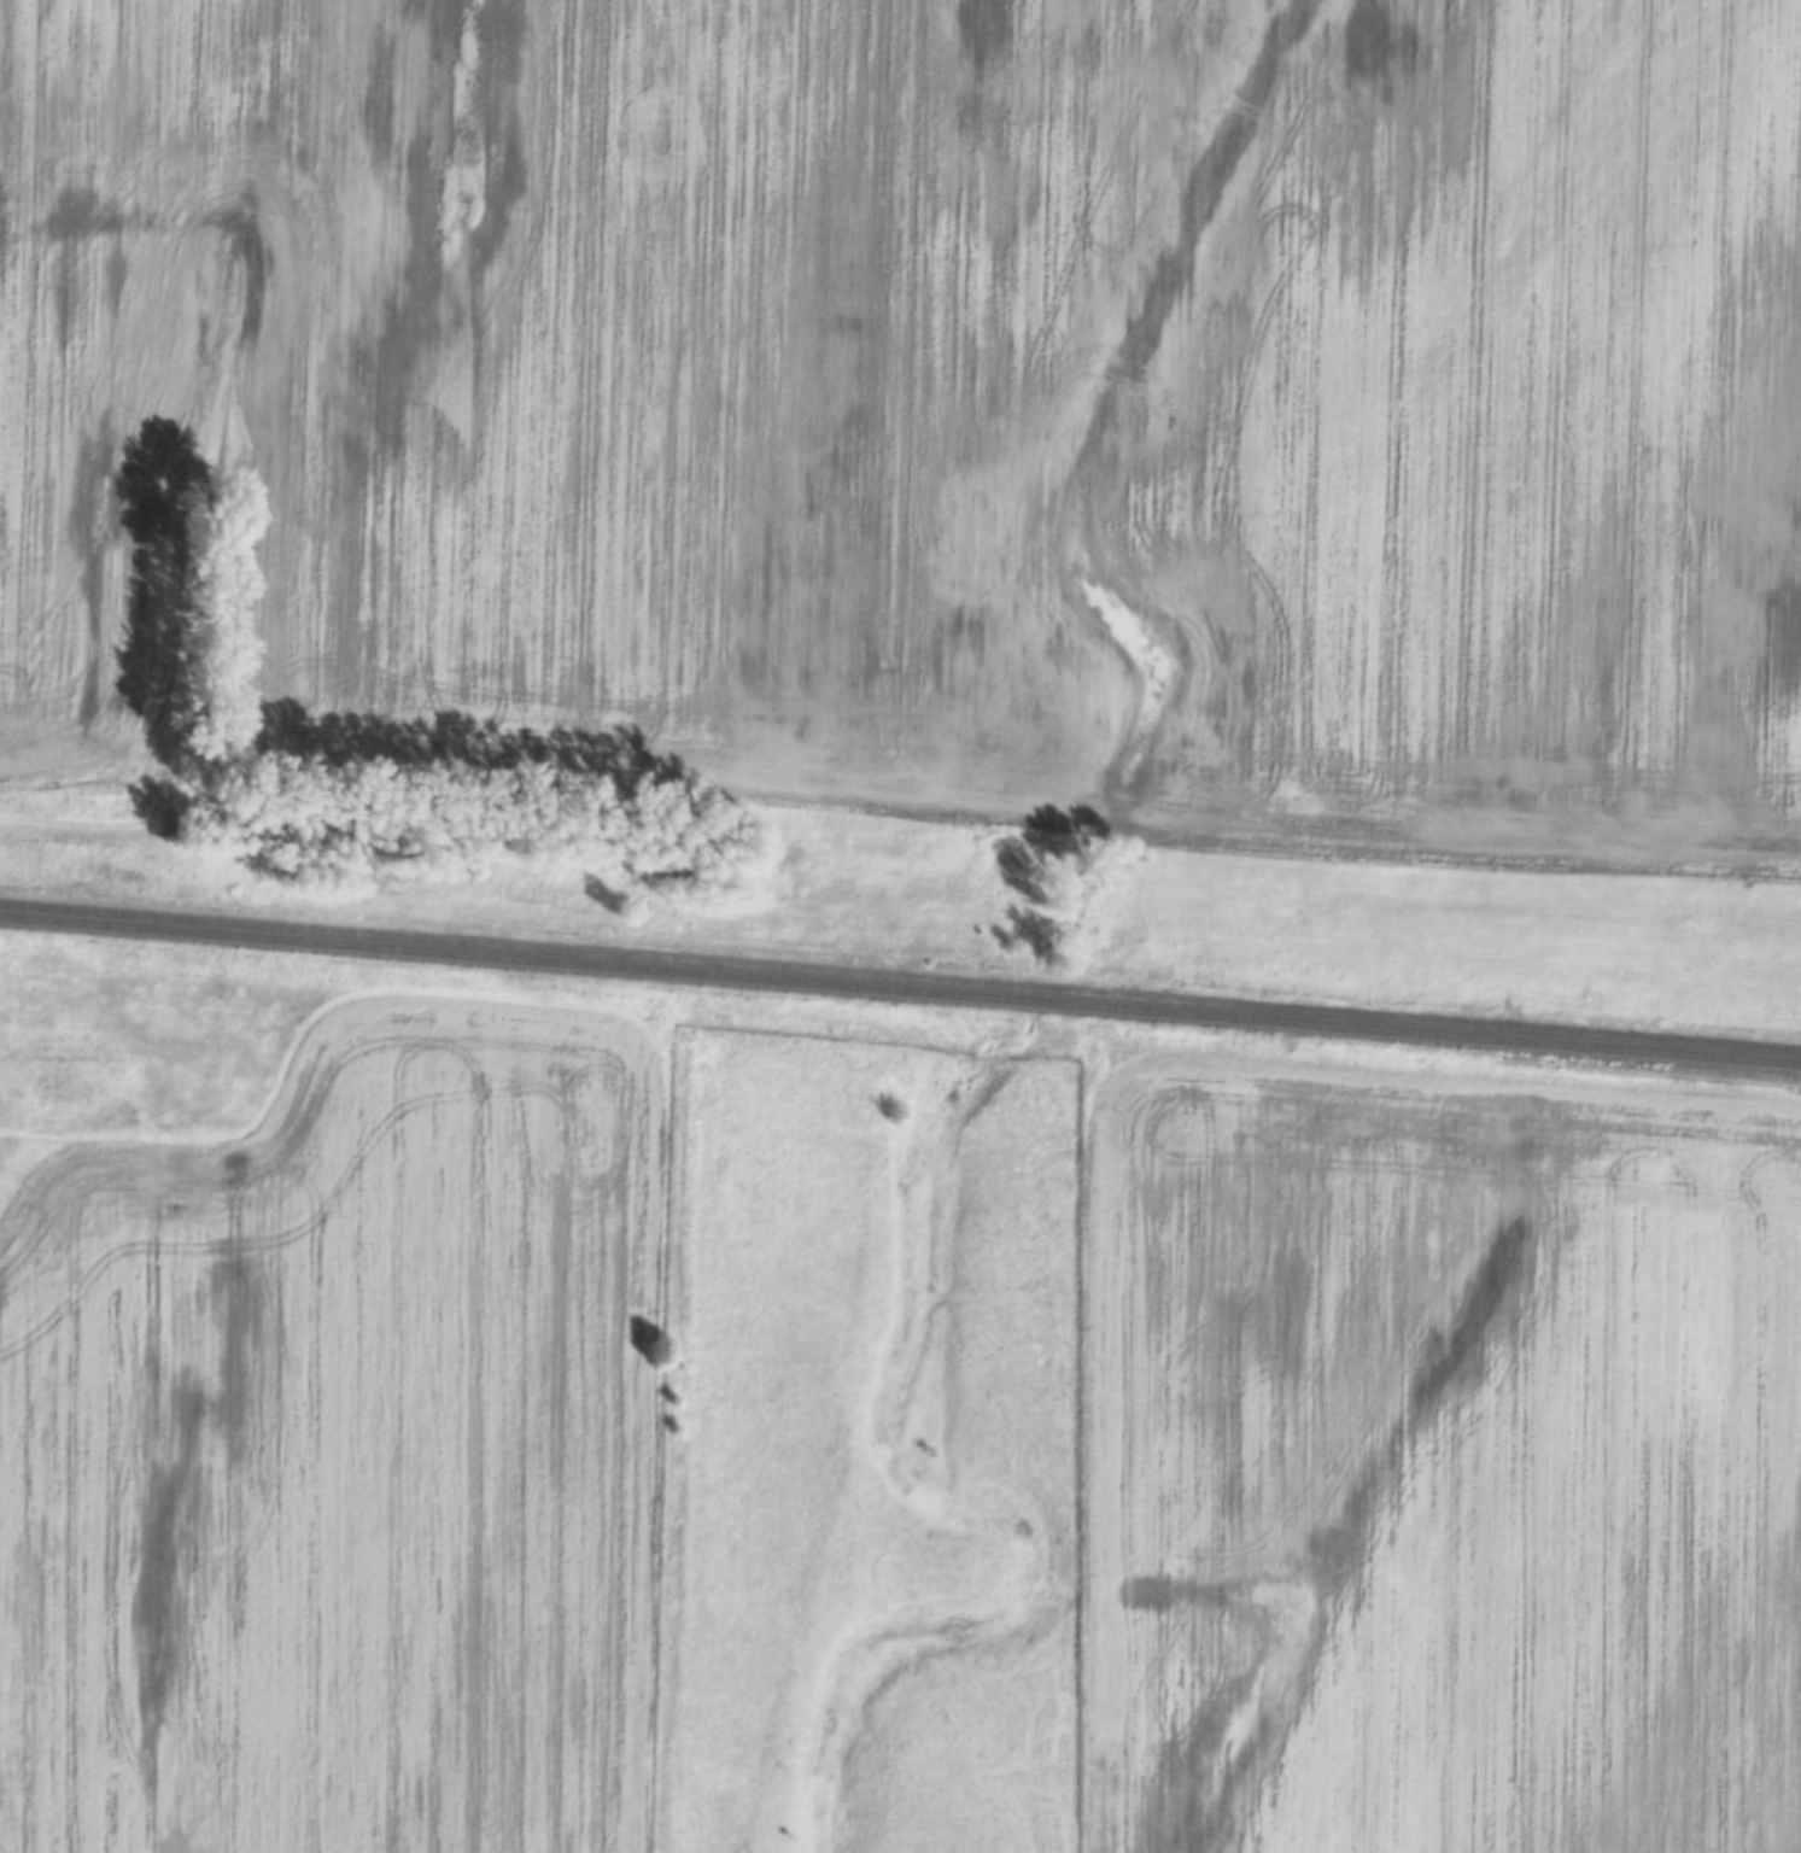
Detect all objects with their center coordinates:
building: (598, 655)
railway: (900, 976)
railway: (900, 988)

